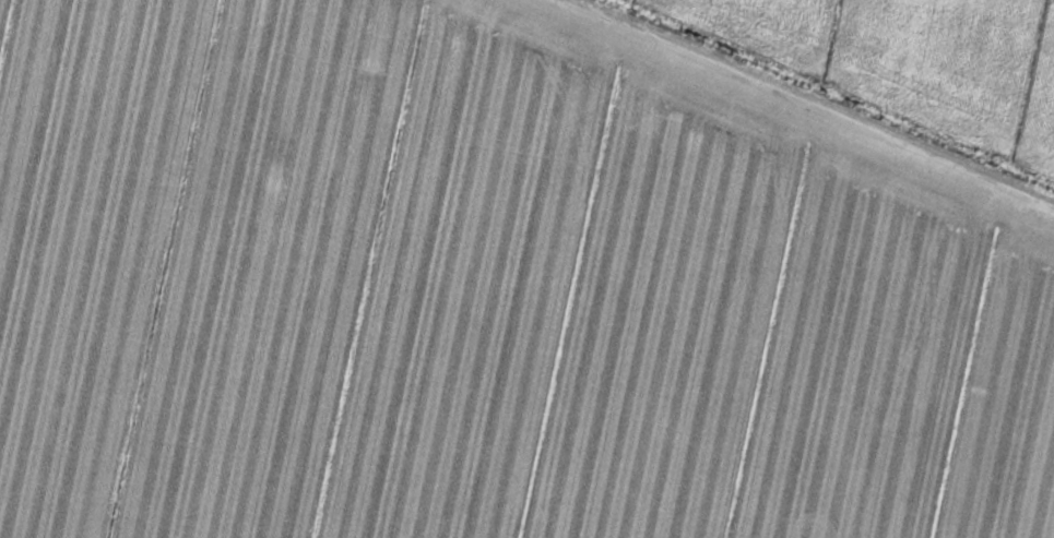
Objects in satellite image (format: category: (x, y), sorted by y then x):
road: (813, 100)

